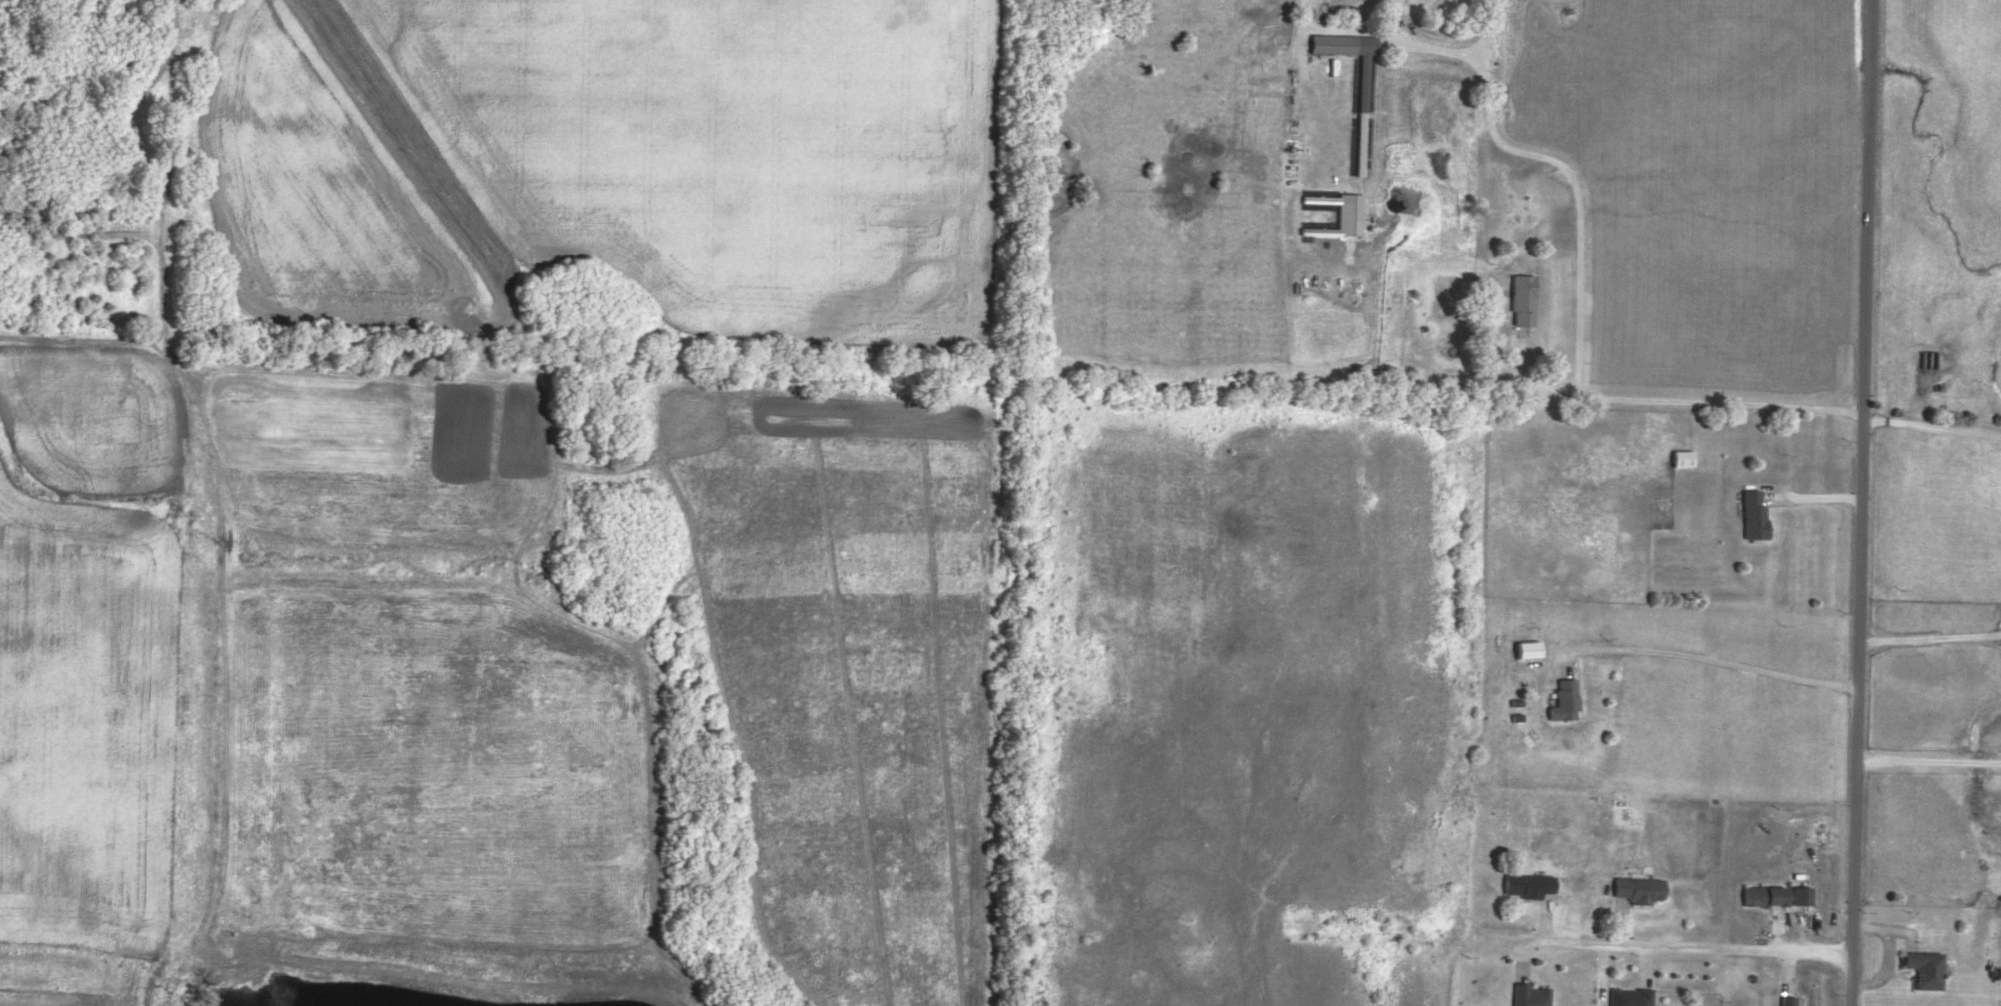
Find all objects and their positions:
road: (1381, 38)
building: (1523, 299)
road: (1579, 309)
road: (1931, 426)
building: (1682, 456)
road: (1860, 502)
building: (1754, 513)
road: (1929, 638)
building: (1526, 647)
road: (1706, 658)
building: (1564, 699)
road: (1928, 760)
building: (1527, 883)
building: (1639, 887)
building: (1801, 893)
building: (1764, 894)
road: (1670, 946)
building: (1924, 967)
building: (1530, 994)
building: (1630, 996)
building: (1788, 1000)

